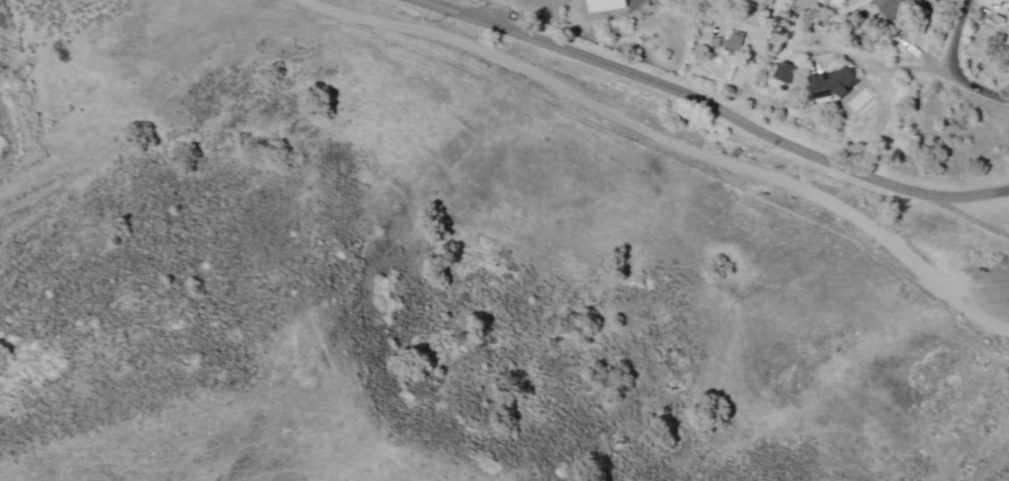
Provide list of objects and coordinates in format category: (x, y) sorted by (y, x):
building: (606, 5)
building: (897, 8)
building: (735, 42)
road: (952, 67)
building: (785, 72)
building: (831, 85)
road: (716, 108)
road: (989, 460)

